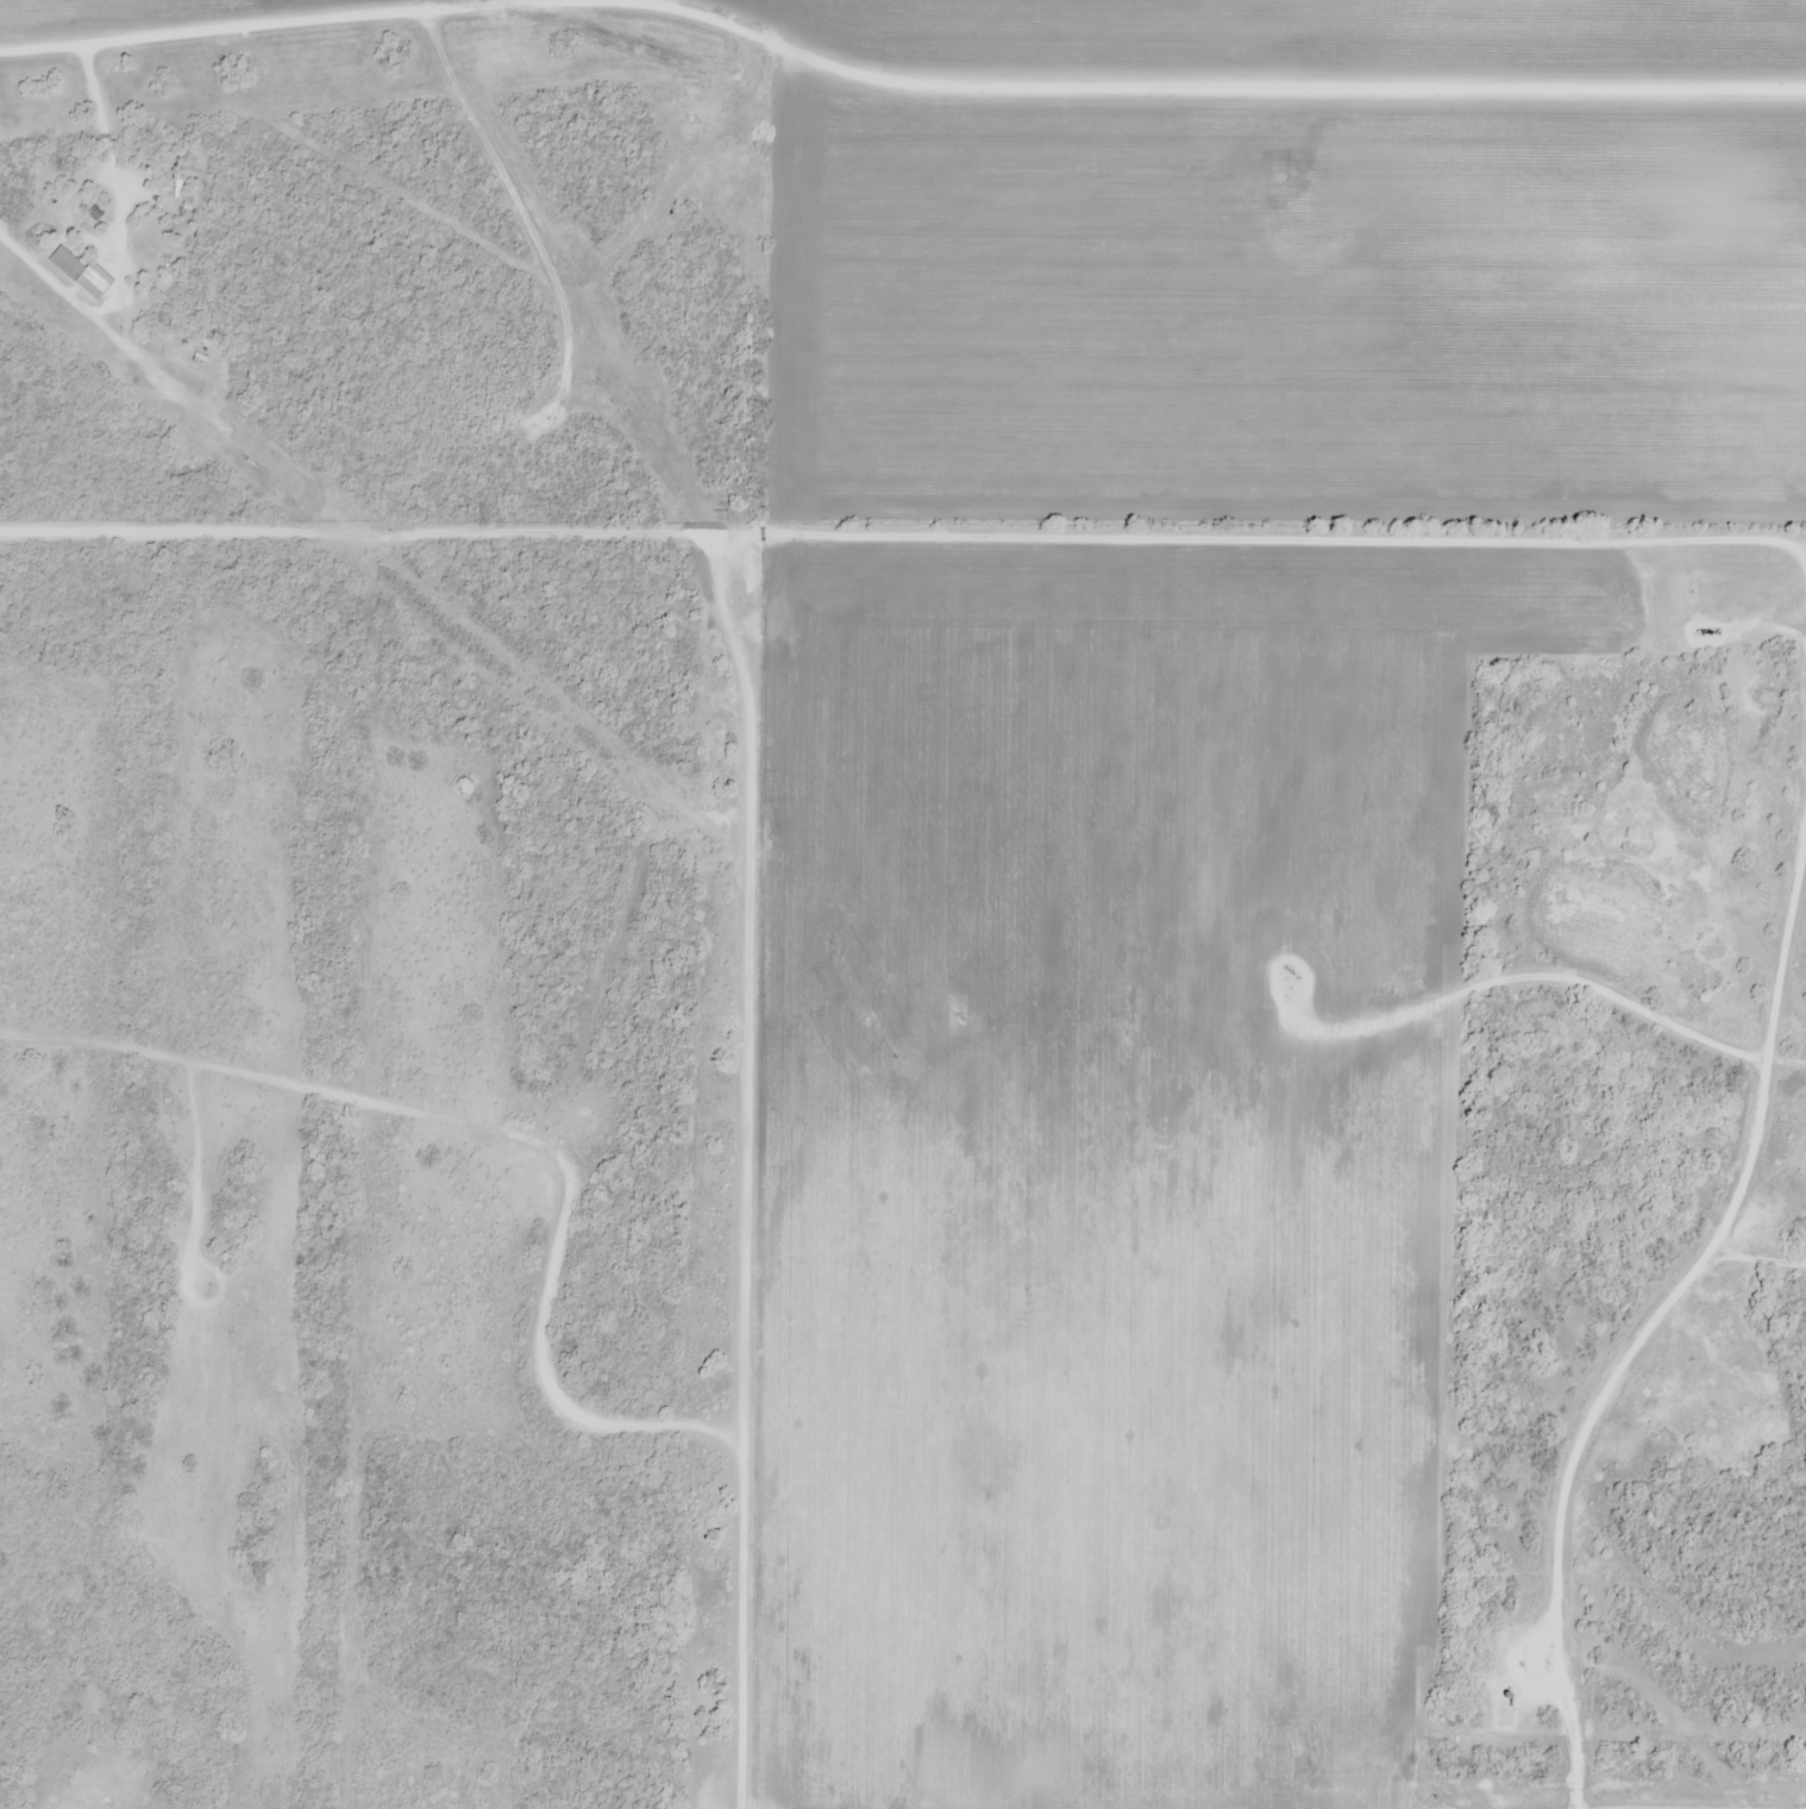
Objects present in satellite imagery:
building: (65, 264)

